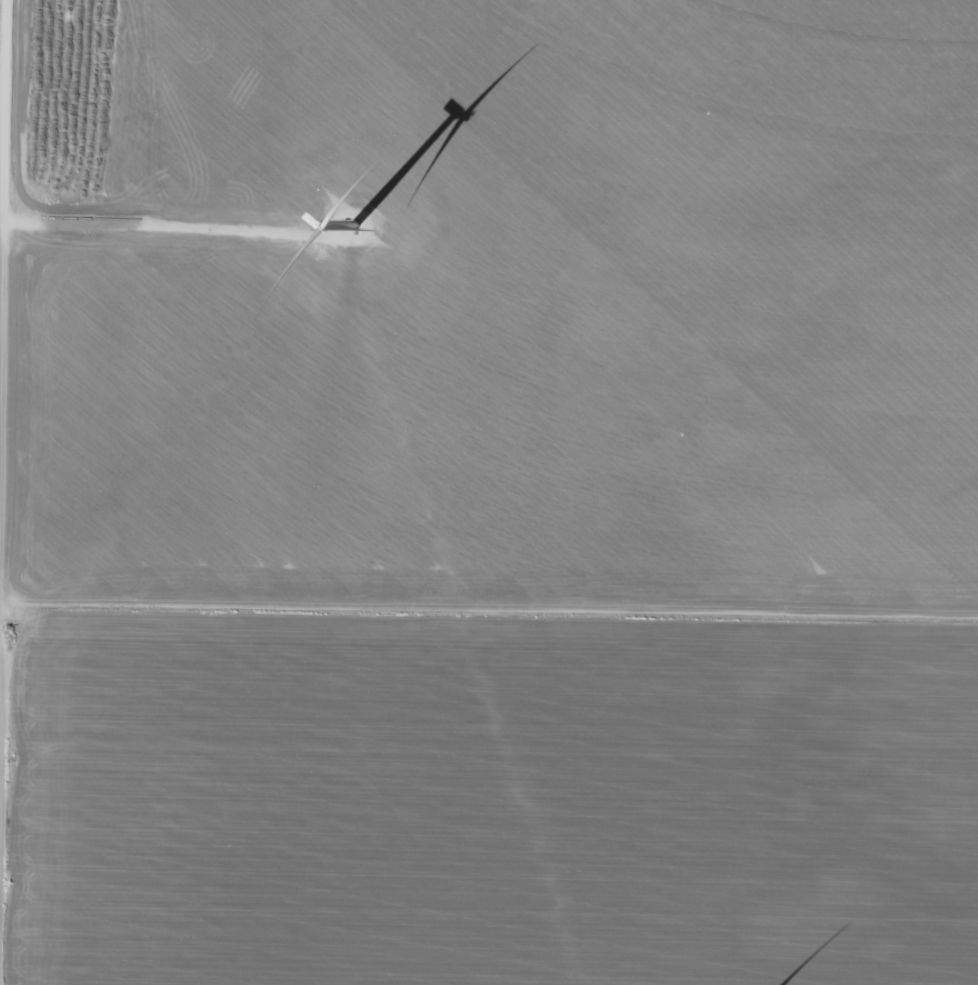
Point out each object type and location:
wind turbine: (347, 227)
road: (7, 404)
road: (489, 606)

